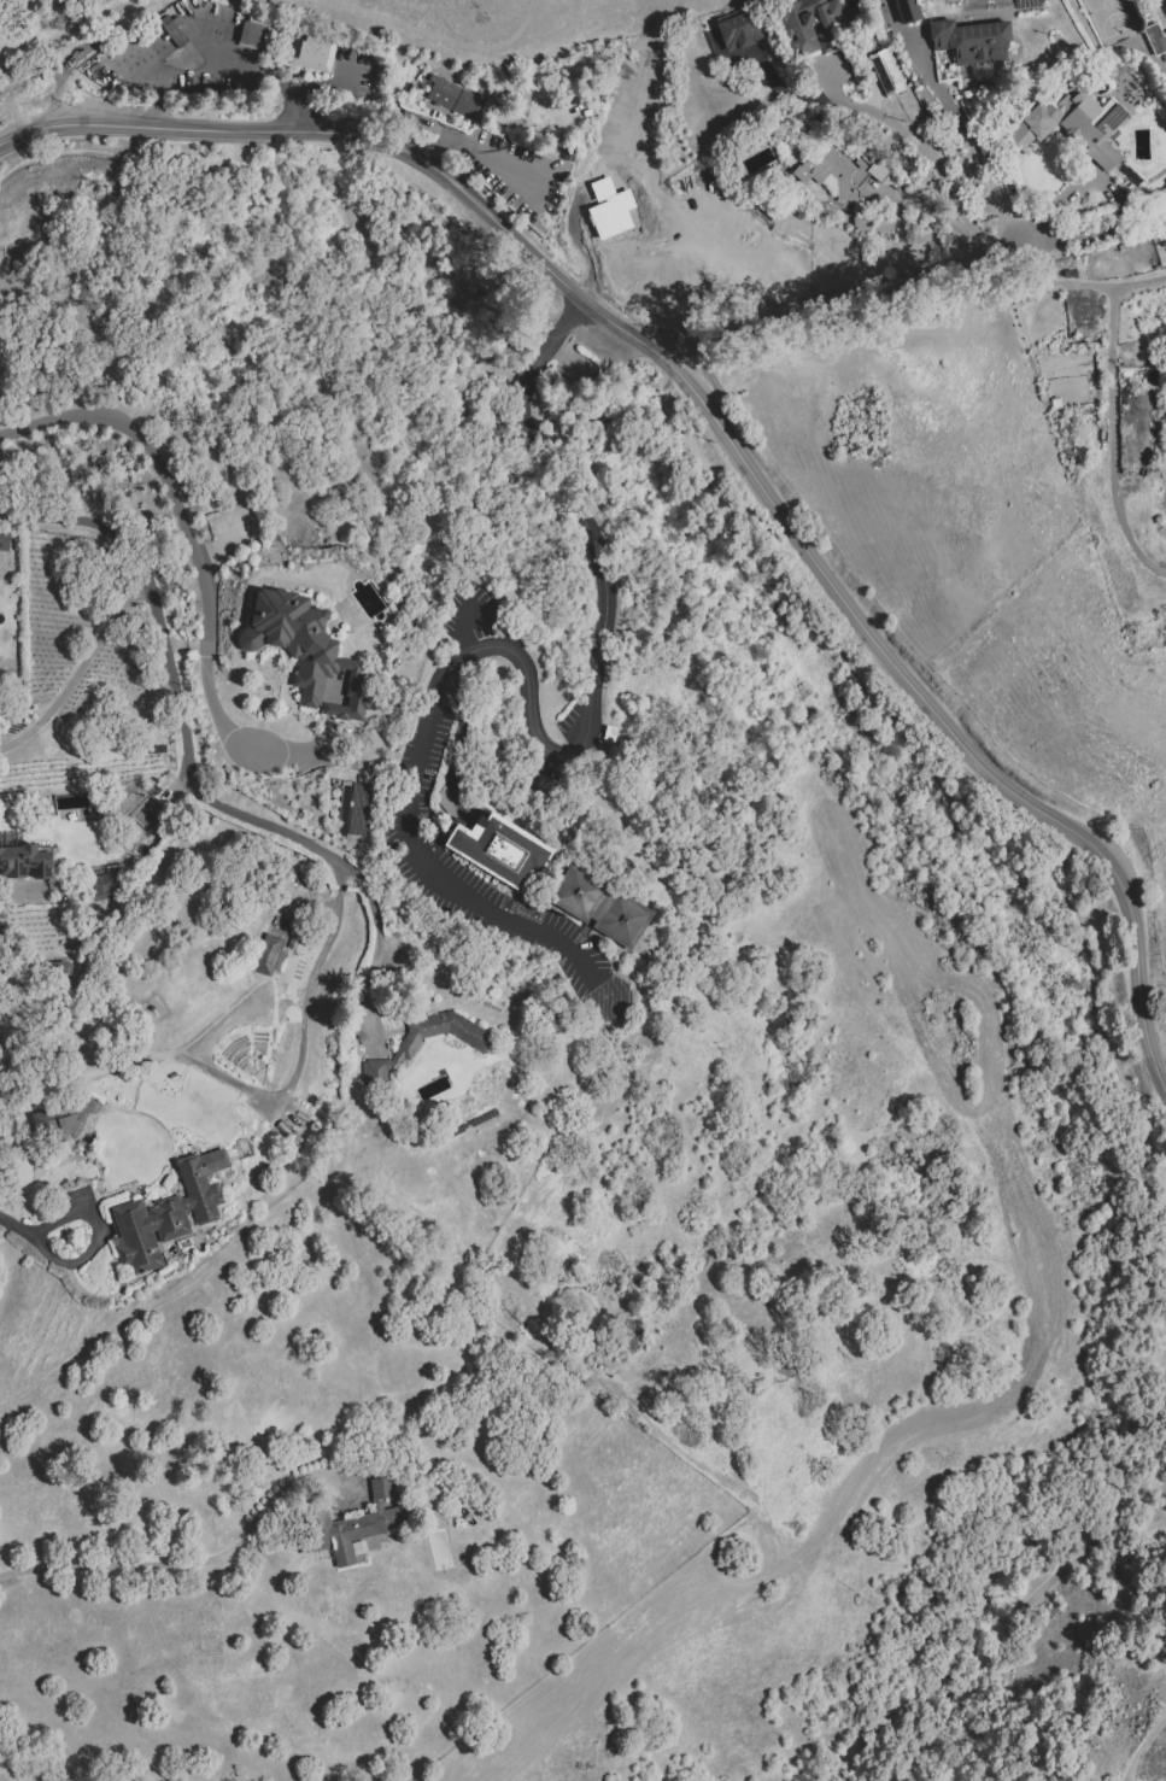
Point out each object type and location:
building: (1165, 0)
building: (182, 7)
building: (909, 13)
building: (992, 14)
building: (814, 29)
building: (174, 35)
building: (742, 35)
building: (259, 37)
building: (1158, 43)
building: (973, 45)
building: (315, 55)
road: (218, 65)
building: (889, 76)
building: (447, 99)
road: (211, 129)
building: (1079, 130)
road: (972, 141)
road: (477, 147)
road: (922, 153)
road: (125, 156)
building: (574, 157)
building: (844, 183)
building: (609, 210)
road: (922, 210)
road: (456, 217)
road: (914, 281)
road: (1111, 286)
parking lot: (596, 341)
road: (1111, 441)
road: (199, 570)
road: (843, 603)
road: (462, 627)
building: (307, 654)
road: (78, 670)
road: (531, 707)
road: (457, 737)
road: (909, 744)
road: (184, 756)
building: (358, 809)
park: (143, 813)
building: (503, 855)
building: (24, 863)
building: (106, 887)
building: (576, 894)
building: (621, 921)
building: (271, 959)
building: (410, 1050)
road: (211, 1073)
building: (166, 1223)
road: (14, 1226)
road: (94, 1236)
building: (244, 1238)
building: (245, 1244)
building: (351, 1528)
road: (194, 1563)
road: (1032, 1598)
road: (1141, 1744)

